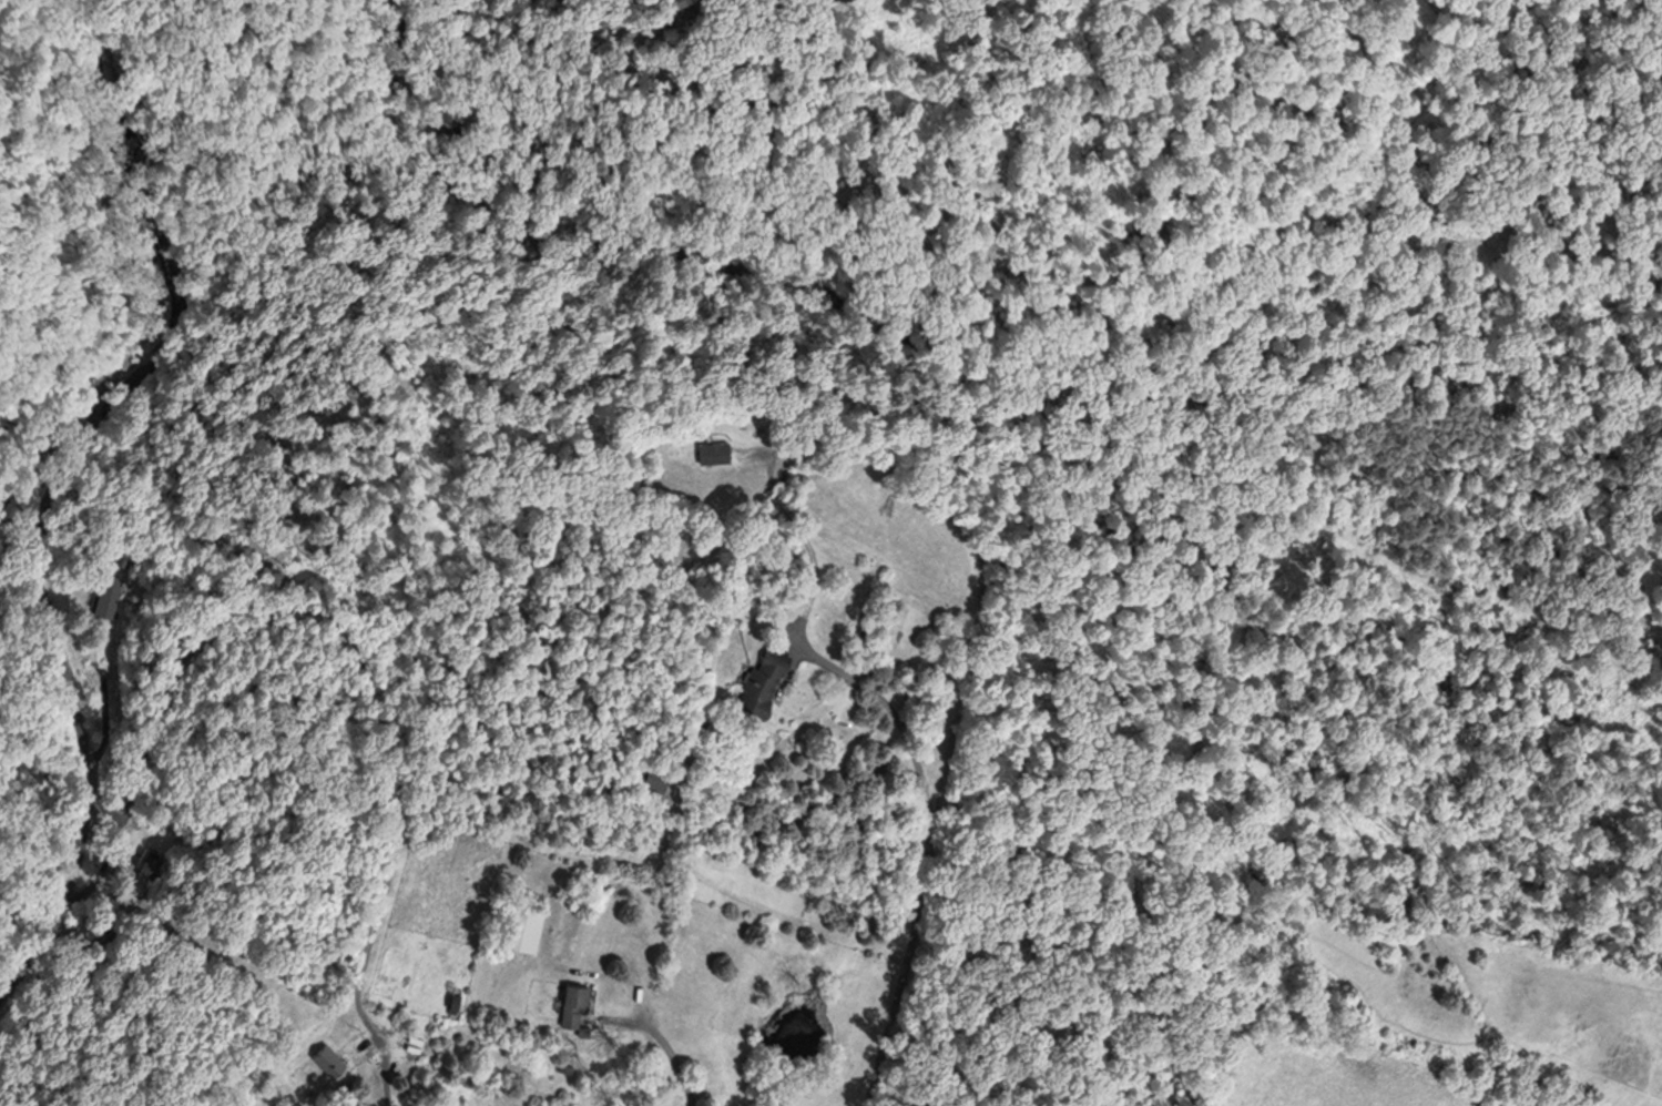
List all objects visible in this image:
building: (716, 455)
road: (908, 483)
road: (51, 486)
building: (108, 599)
road: (351, 640)
building: (763, 683)
road: (106, 720)
building: (655, 779)
road: (926, 858)
building: (150, 866)
building: (520, 921)
building: (575, 997)
building: (562, 1003)
building: (327, 1057)
road: (673, 1062)
building: (312, 1066)
road: (381, 1074)

